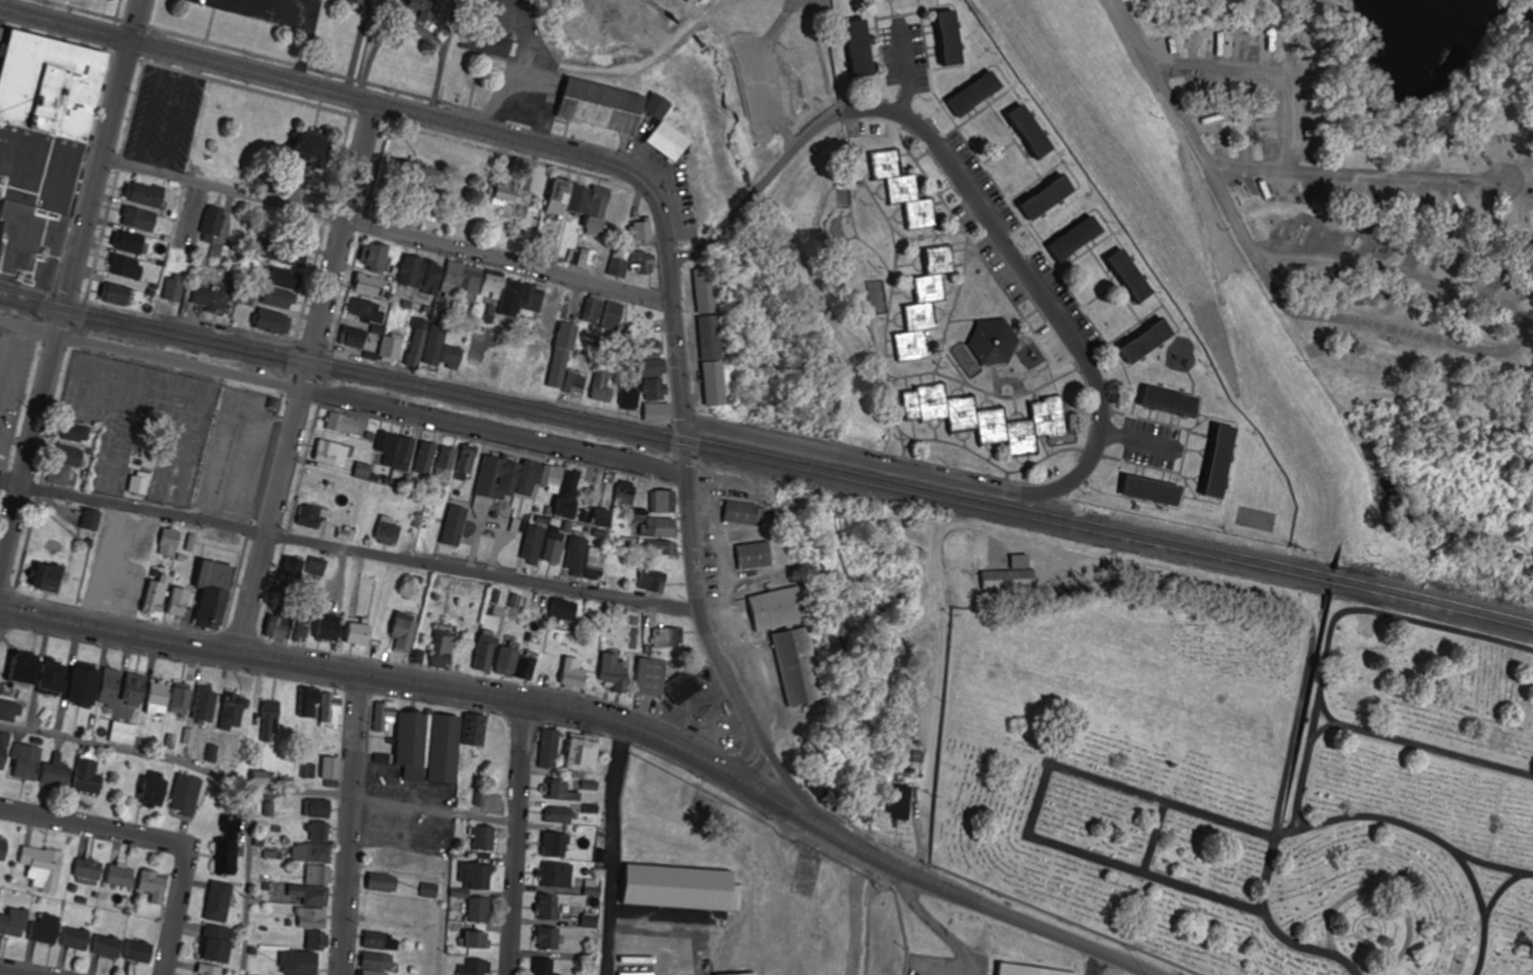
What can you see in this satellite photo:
road: (1291, 39)
traffic signals: (132, 43)
road: (1264, 77)
road: (326, 91)
building: (41, 147)
road: (1260, 169)
road: (386, 233)
road: (69, 290)
road: (247, 334)
road: (1066, 337)
road: (1467, 348)
road: (302, 379)
road: (342, 399)
railway: (766, 457)
railway: (766, 466)
road: (689, 515)
road: (349, 548)
road: (1021, 573)
road: (1374, 613)
road: (944, 620)
road: (1309, 624)
road: (1329, 717)
road: (597, 718)
road: (1375, 734)
road: (752, 758)
park: (1245, 775)
road: (255, 787)
road: (1035, 808)
road: (1338, 820)
road: (349, 825)
road: (515, 838)
road: (1153, 838)
road: (155, 840)
road: (1490, 865)
road: (1500, 890)
road: (1384, 892)
road: (16, 971)
building: (1027, 972)

